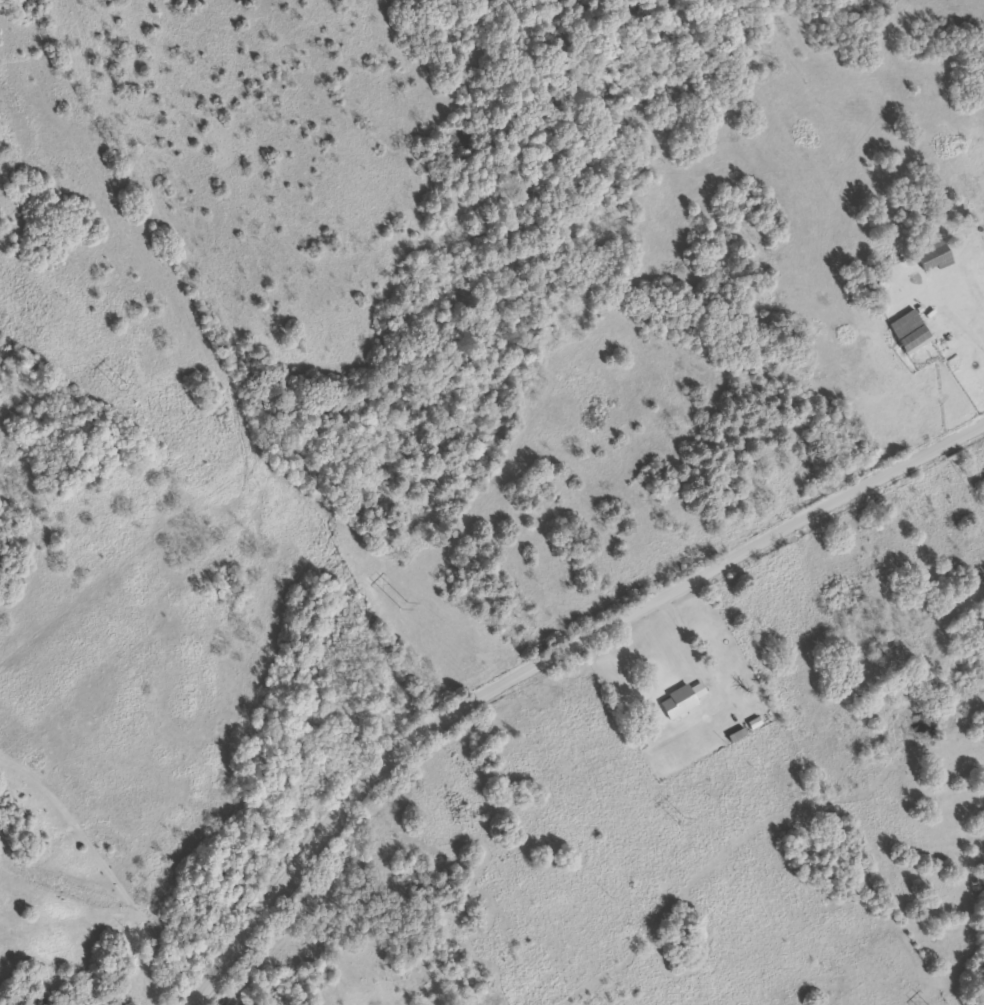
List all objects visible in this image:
building: (945, 256)
road: (544, 655)
road: (717, 694)
building: (683, 699)

